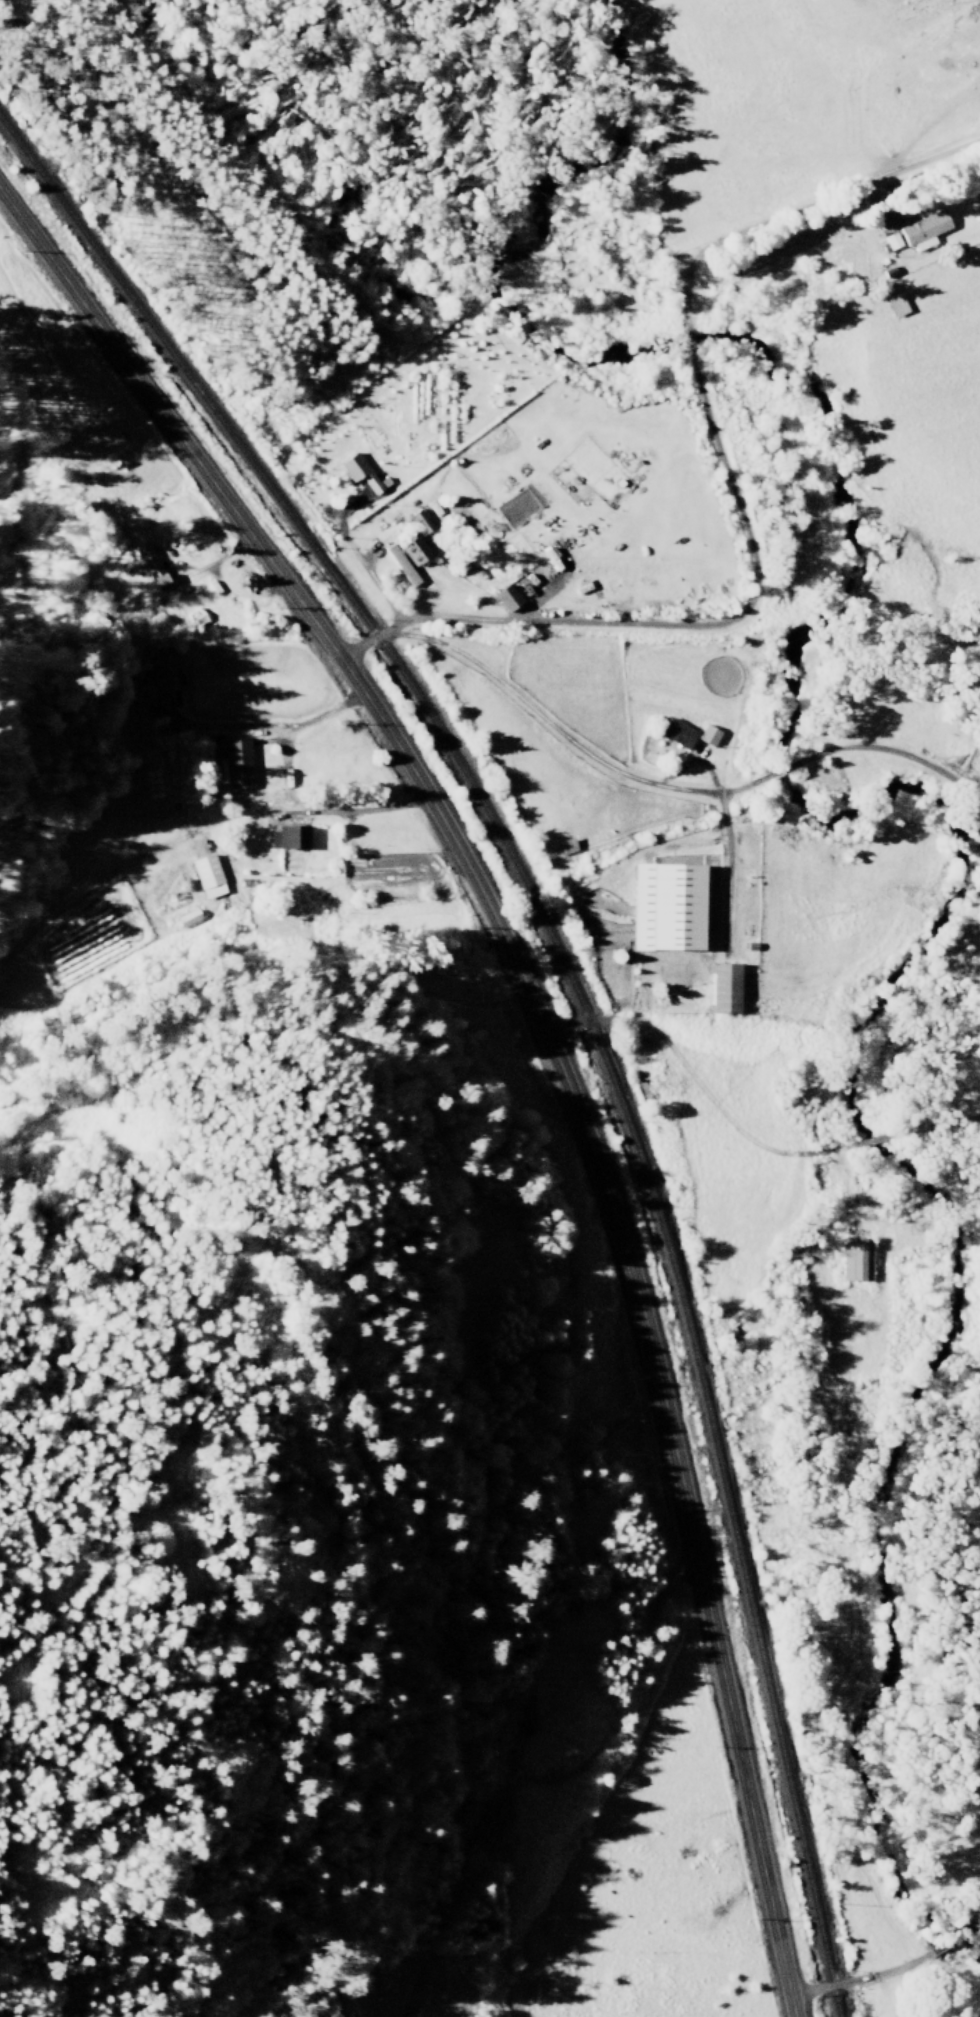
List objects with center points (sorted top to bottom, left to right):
road: (795, 211)
building: (925, 230)
building: (897, 304)
road: (690, 343)
building: (360, 472)
building: (421, 522)
building: (415, 551)
building: (151, 564)
building: (402, 565)
road: (379, 587)
building: (508, 598)
road: (674, 627)
building: (164, 674)
building: (687, 735)
road: (569, 739)
road: (895, 752)
building: (235, 763)
road: (785, 768)
building: (291, 838)
building: (567, 846)
building: (207, 871)
road: (727, 872)
building: (669, 908)
building: (725, 987)
railway: (582, 997)
road: (552, 1039)
road: (711, 1094)
road: (940, 1127)
road: (889, 1140)
building: (858, 1258)
road: (975, 1928)
road: (960, 1938)
road: (873, 1977)

